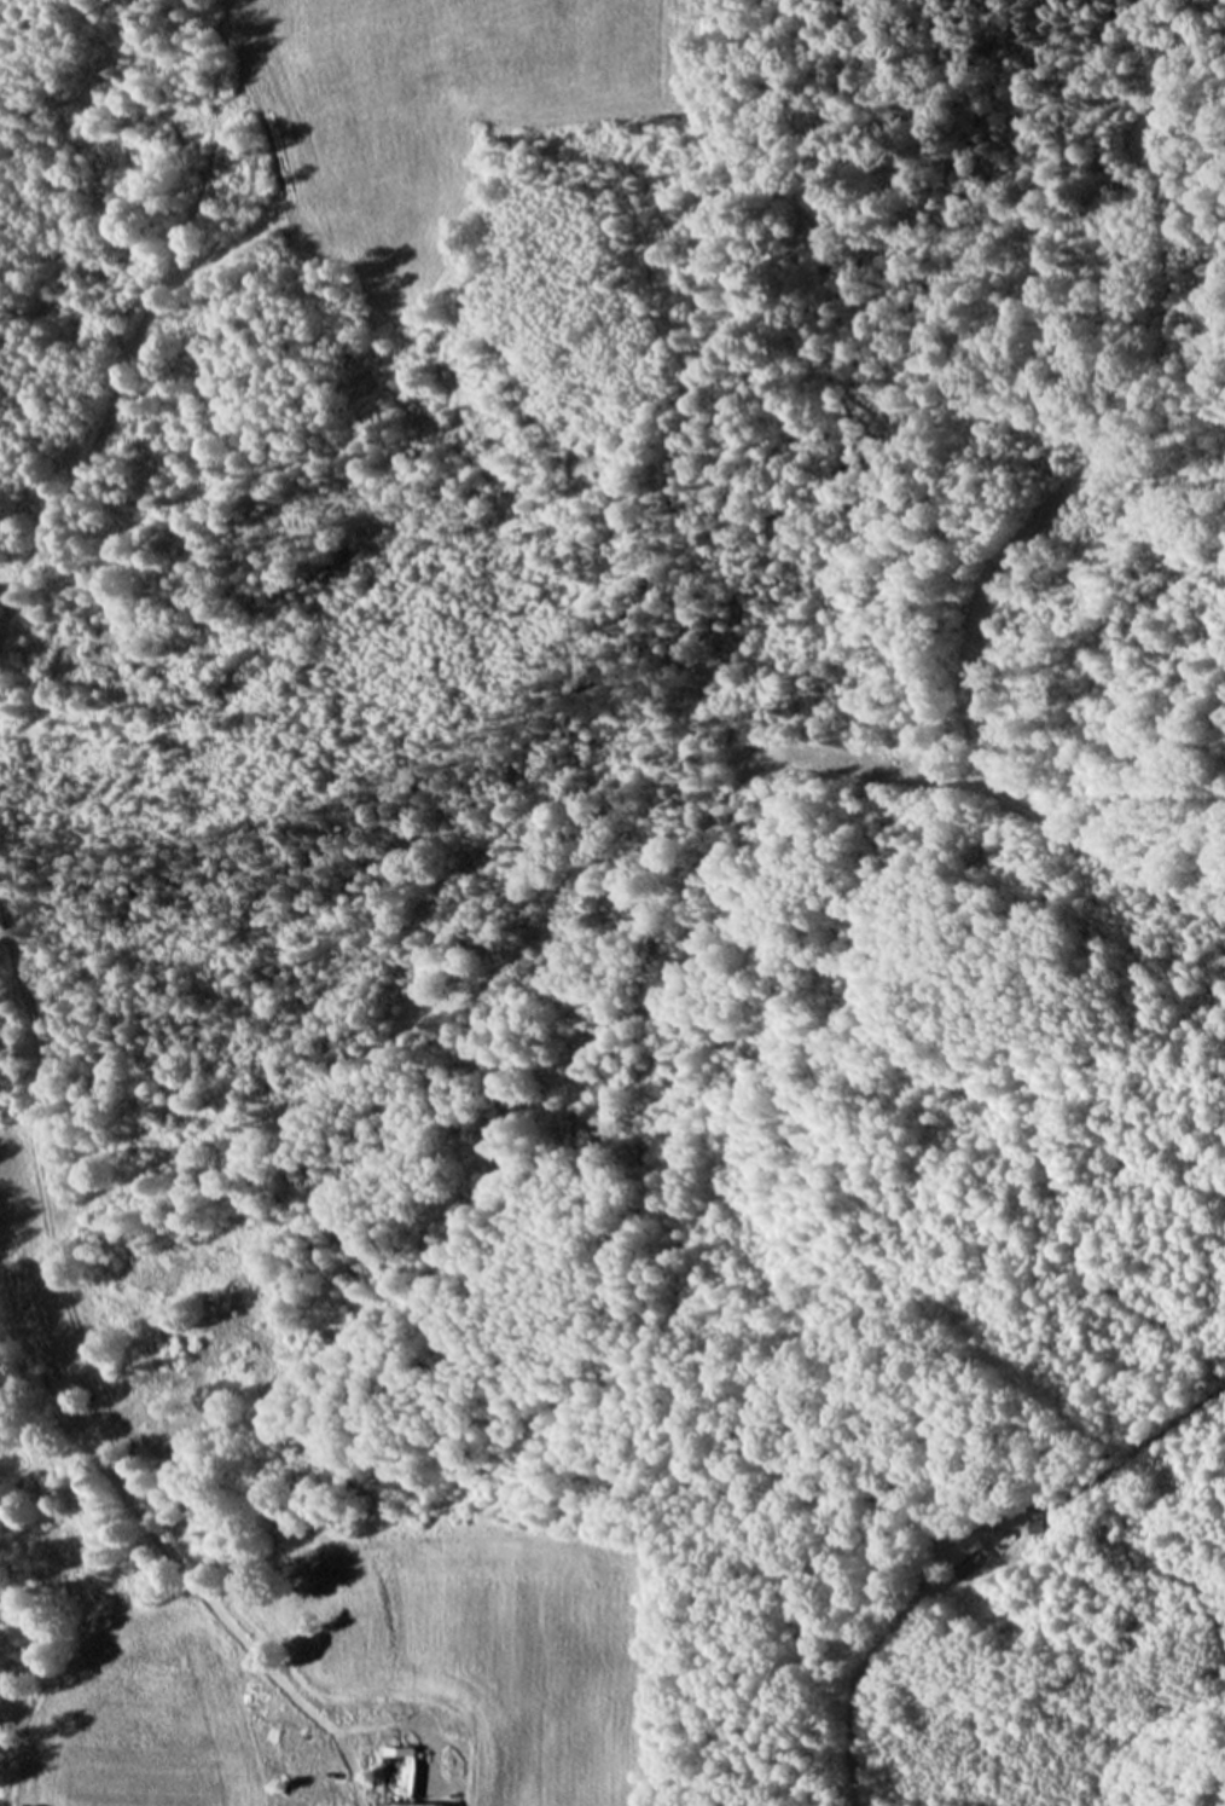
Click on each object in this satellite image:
building: (1034, 1524)
building: (970, 1563)
road: (852, 1679)
building: (399, 1777)

